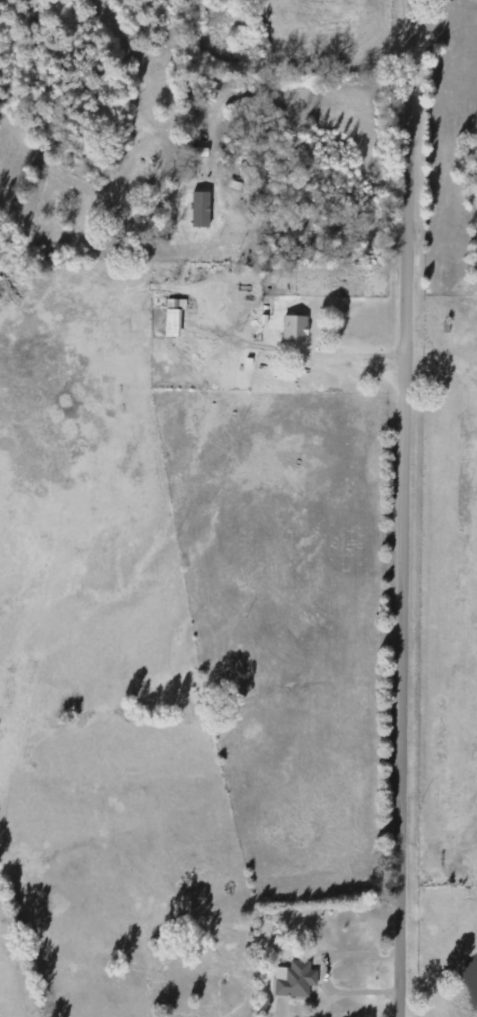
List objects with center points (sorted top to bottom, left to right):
building: (200, 209)
building: (174, 317)
building: (295, 329)
road: (413, 508)
road: (322, 971)
building: (295, 980)

